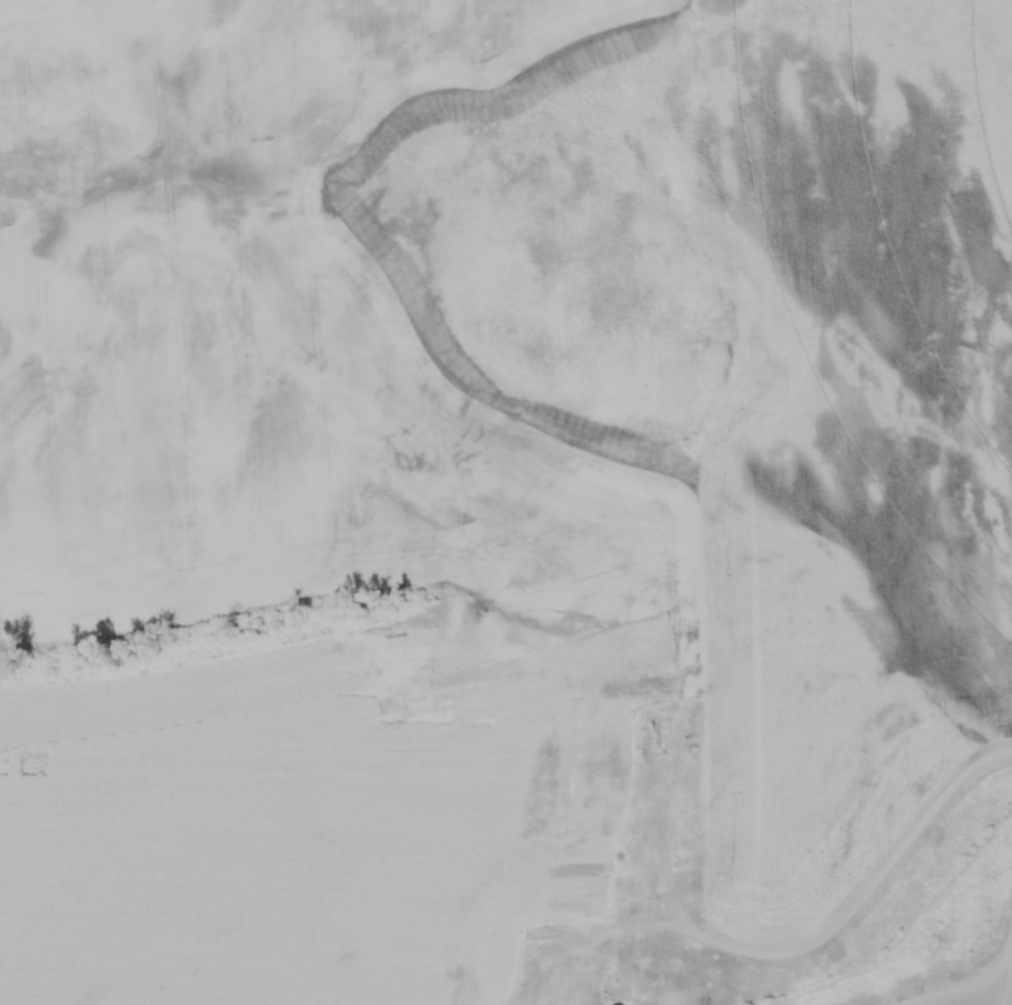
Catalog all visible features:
road: (864, 896)
street lamp: (925, 989)
road: (971, 992)
road: (1010, 996)

